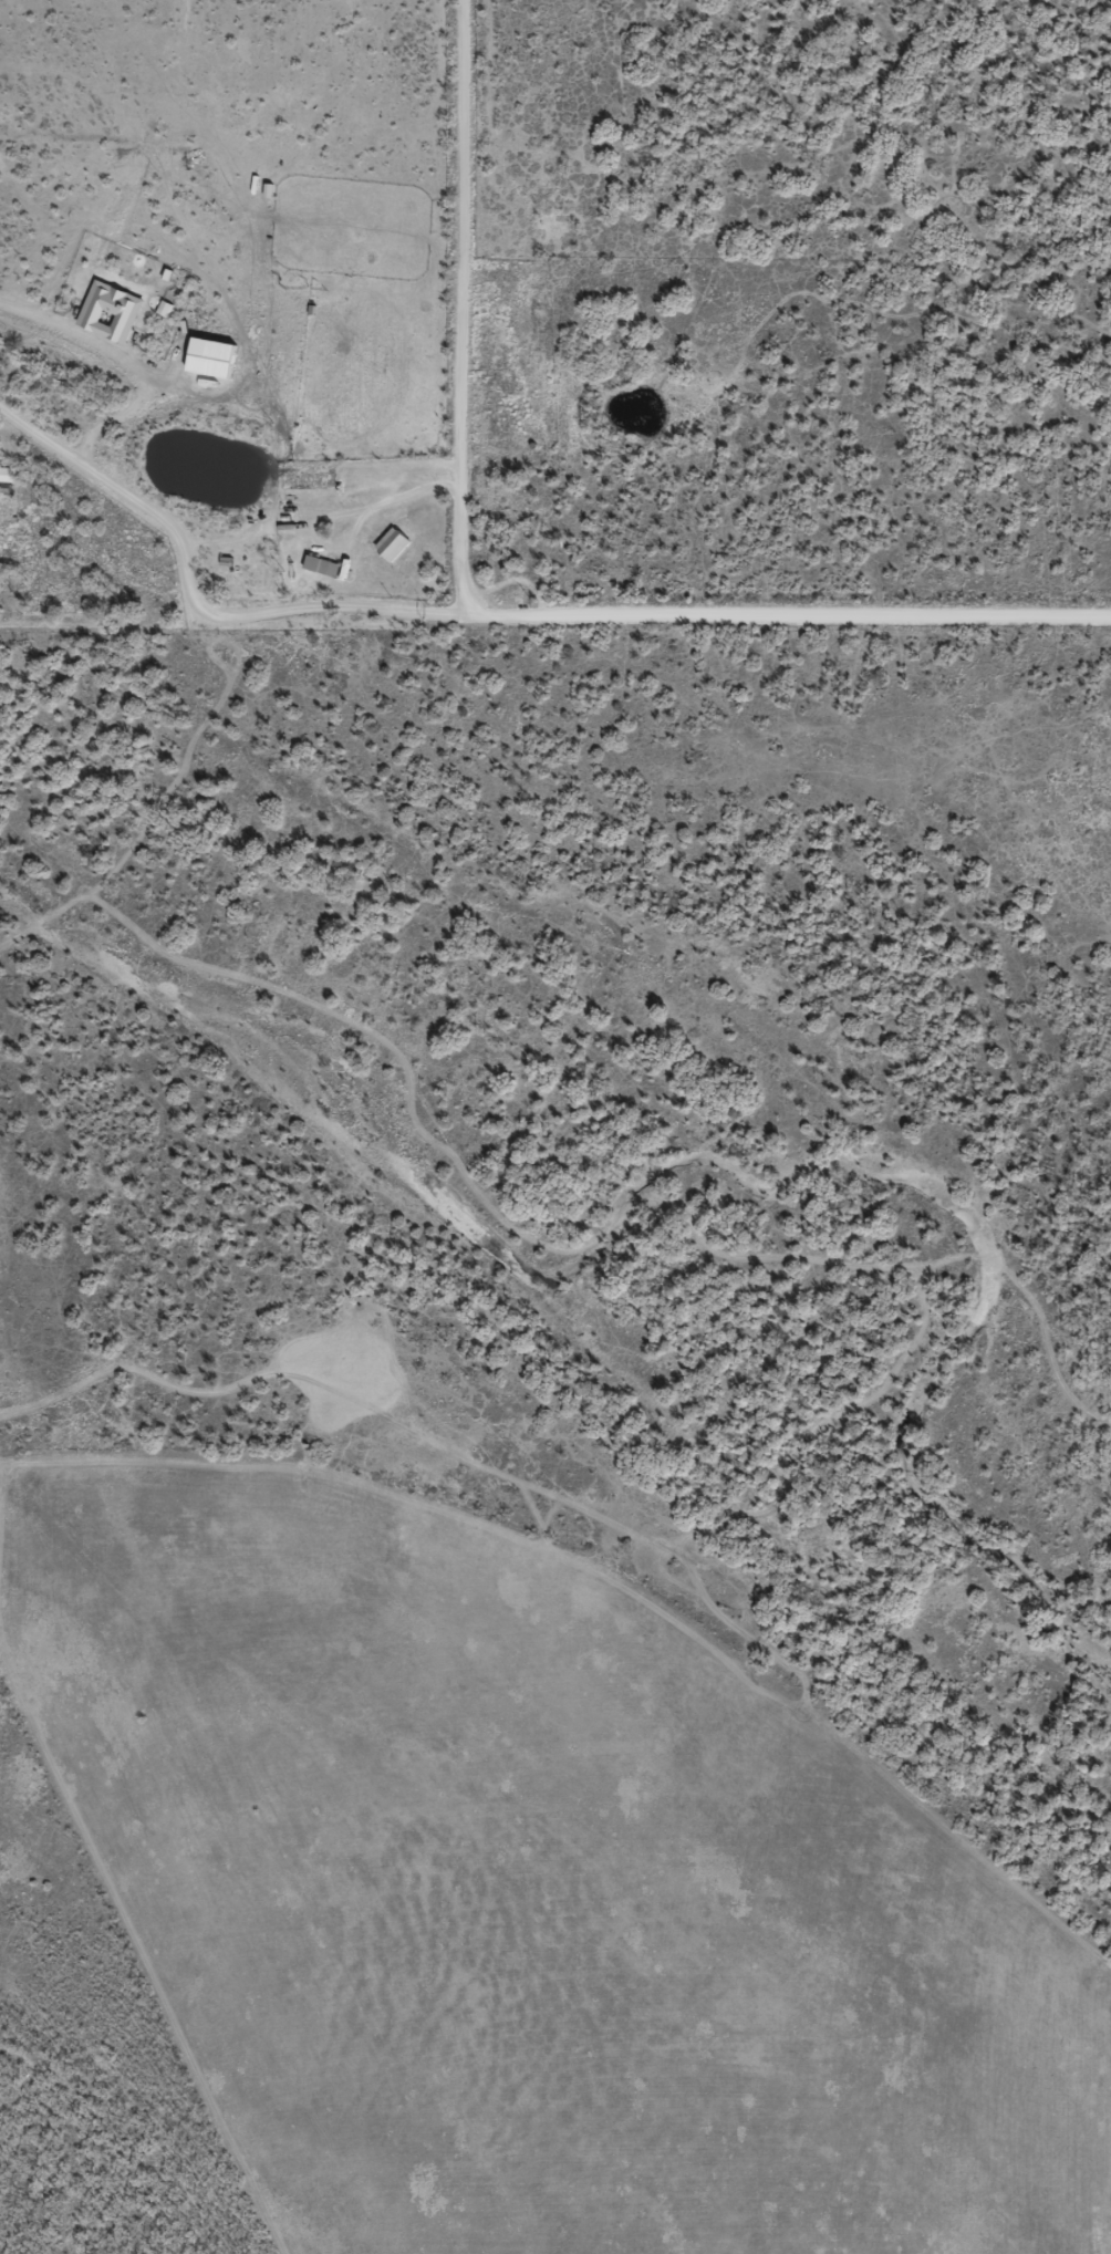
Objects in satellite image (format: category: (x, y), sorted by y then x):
road: (540, 304)
road: (124, 499)
building: (393, 543)
building: (321, 565)
road: (677, 623)

